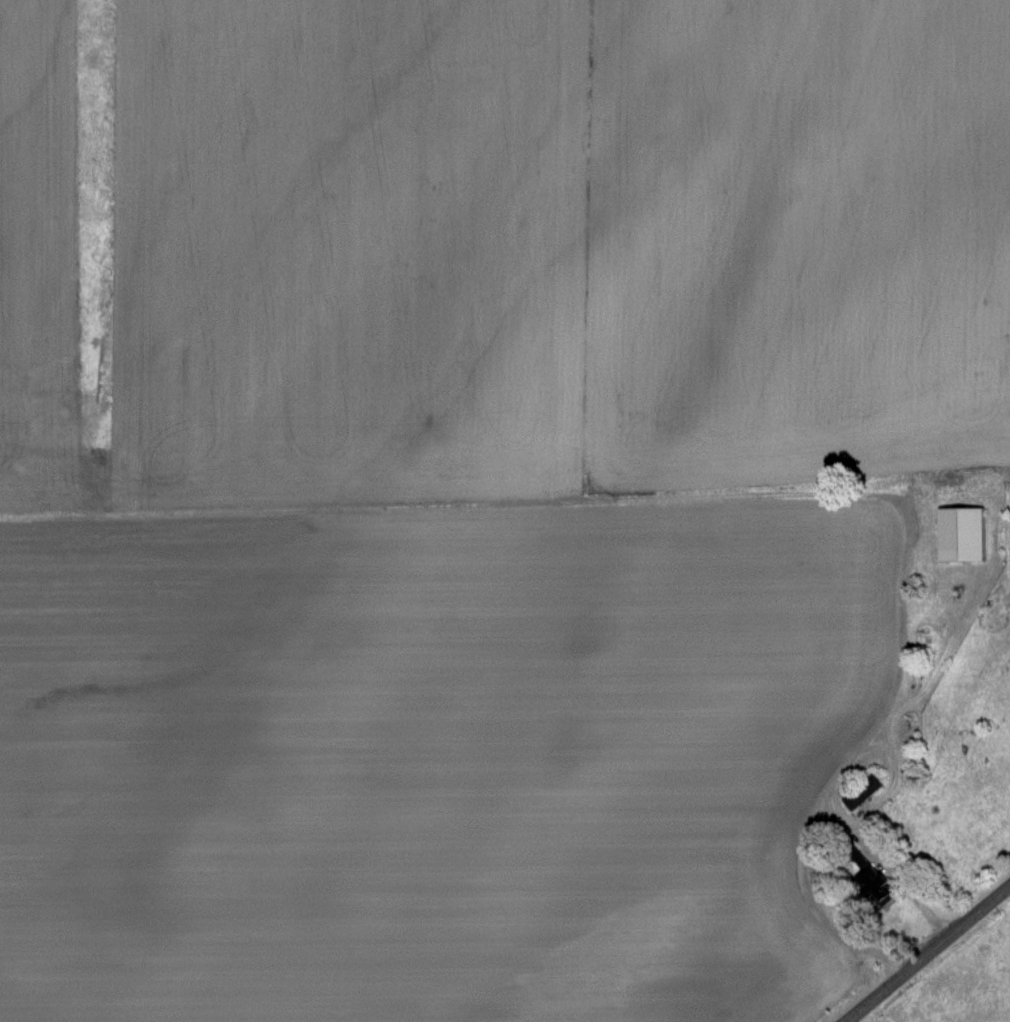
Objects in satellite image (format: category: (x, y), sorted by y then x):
building: (962, 532)
road: (840, 763)
building: (863, 790)
road: (902, 882)
road: (926, 953)

